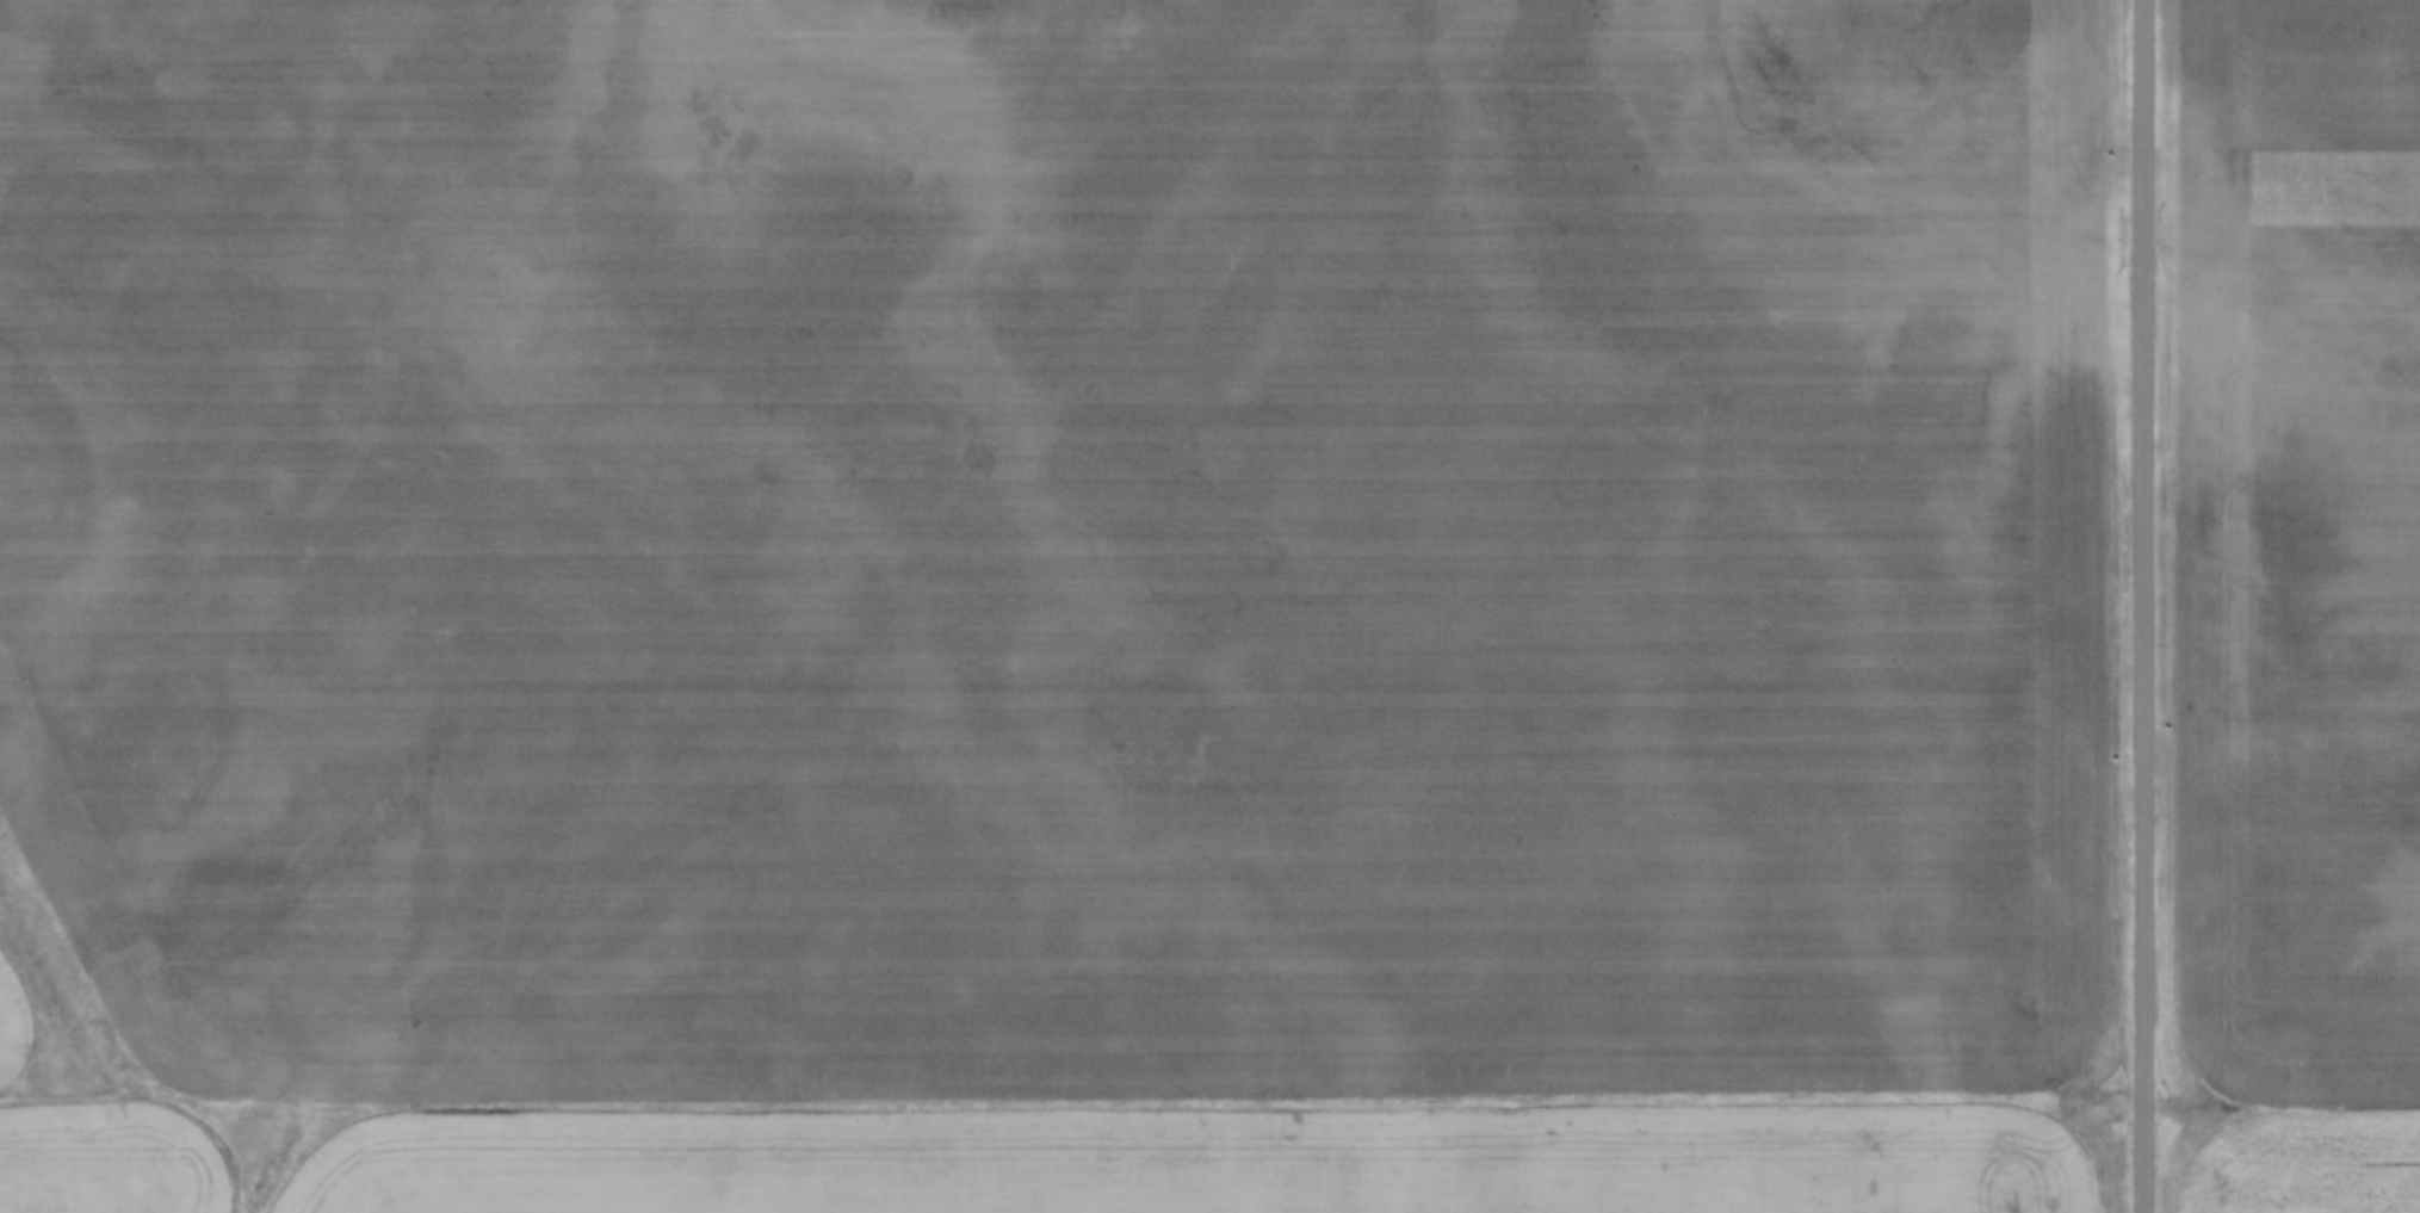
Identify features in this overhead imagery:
road: (2148, 606)

